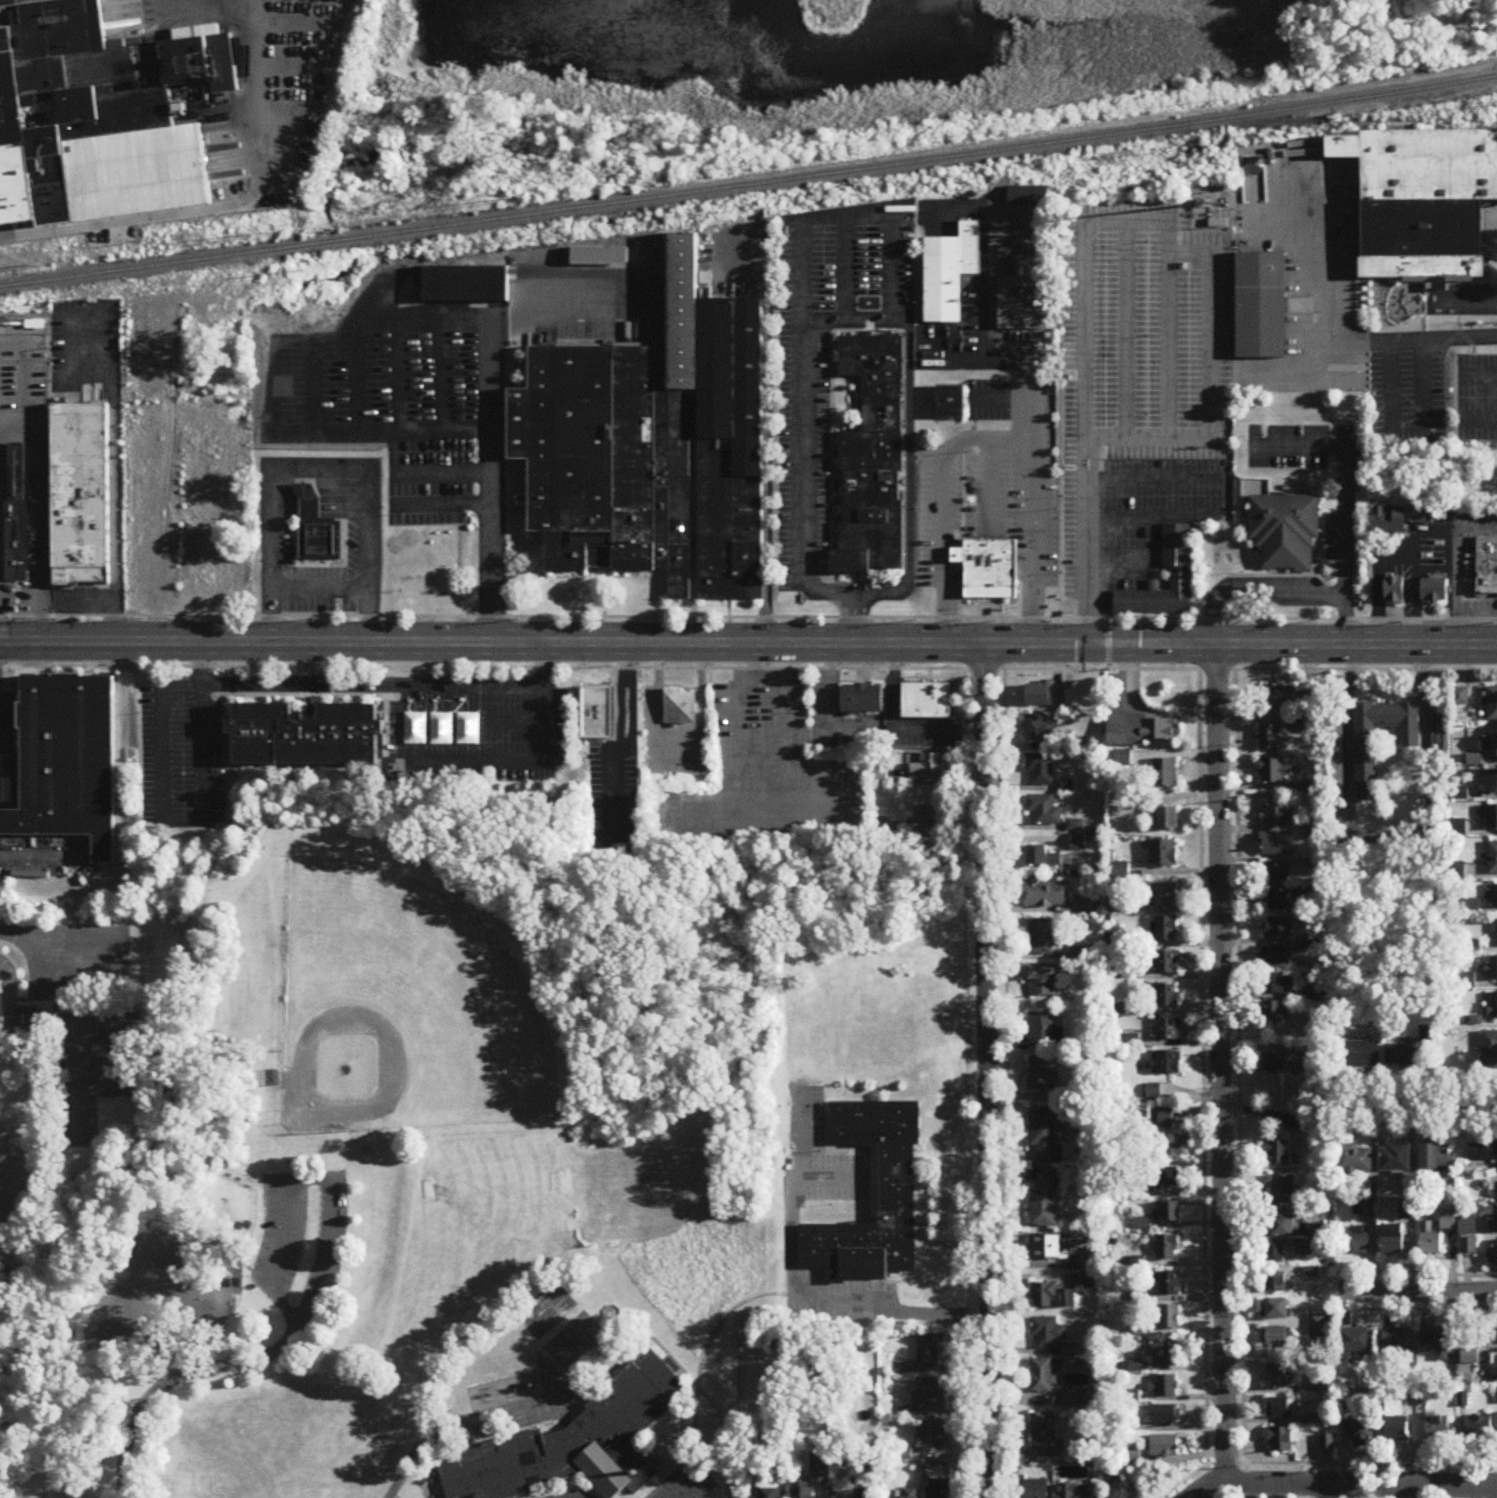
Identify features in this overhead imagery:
building: (96, 113)
railway: (1318, 125)
railway: (749, 185)
building: (1028, 196)
building: (1423, 202)
road: (225, 207)
road: (827, 215)
building: (950, 274)
building: (466, 285)
road: (553, 288)
road: (845, 290)
building: (1026, 297)
road: (1466, 302)
building: (1262, 306)
road: (1170, 308)
road: (988, 309)
road: (823, 317)
road: (1326, 321)
road: (1123, 330)
road: (1482, 376)
building: (951, 404)
road: (1482, 421)
road: (489, 424)
road: (1405, 424)
road: (381, 431)
road: (1128, 434)
road: (768, 435)
road: (990, 440)
building: (653, 447)
building: (872, 459)
road: (1079, 463)
road: (1092, 463)
road: (317, 478)
road: (1154, 478)
building: (81, 497)
road: (1344, 507)
building: (16, 514)
road: (1154, 516)
road: (39, 518)
building: (1400, 519)
building: (317, 531)
building: (1284, 531)
road: (1397, 549)
road: (1086, 561)
road: (1116, 563)
building: (1487, 568)
building: (988, 571)
building: (1180, 576)
building: (406, 583)
road: (1450, 587)
road: (1255, 589)
building: (1395, 590)
road: (1412, 591)
building: (1435, 591)
road: (101, 606)
road: (748, 618)
road: (748, 644)
road: (748, 670)
road: (203, 684)
building: (1278, 697)
building: (863, 699)
building: (927, 701)
building: (1492, 703)
building: (680, 706)
building: (598, 712)
road: (1349, 717)
road: (896, 728)
building: (1040, 729)
building: (1139, 730)
road: (1426, 731)
building: (1438, 734)
building: (304, 735)
building: (1268, 736)
road: (629, 737)
building: (1488, 744)
building: (66, 761)
building: (928, 764)
building: (1040, 770)
building: (1274, 770)
building: (1163, 773)
building: (1367, 774)
road: (783, 779)
building: (1484, 779)
building: (1044, 811)
building: (1276, 816)
building: (1492, 816)
building: (1168, 818)
building: (926, 822)
building: (1276, 844)
building: (1163, 854)
building: (1042, 858)
building: (1492, 858)
building: (1274, 873)
building: (1045, 894)
building: (1164, 896)
building: (1495, 896)
building: (1274, 901)
building: (1277, 928)
building: (1165, 930)
building: (1496, 933)
road: (20, 937)
building: (1042, 938)
building: (1278, 956)
parking lot: (77, 962)
building: (1163, 963)
building: (1492, 968)
road: (110, 974)
building: (1043, 981)
building: (1277, 984)
building: (1165, 997)
road: (41, 1001)
park: (401, 1006)
building: (1493, 1007)
road: (7, 1009)
building: (1275, 1012)
building: (34, 1023)
building: (1168, 1030)
building: (1045, 1031)
building: (1489, 1048)
park: (78, 1050)
building: (1360, 1054)
building: (1401, 1055)
park: (116, 1056)
building: (1274, 1062)
building: (1169, 1063)
road: (1220, 1065)
road: (987, 1070)
building: (1043, 1075)
building: (270, 1078)
road: (965, 1083)
road: (1006, 1084)
road: (1202, 1084)
road: (1237, 1084)
building: (1153, 1092)
park: (458, 1097)
road: (1418, 1105)
park: (78, 1116)
building: (1161, 1119)
building: (1303, 1125)
building: (1044, 1135)
building: (1165, 1145)
building: (334, 1147)
building: (1277, 1151)
building: (1482, 1151)
building: (1438, 1157)
building: (1394, 1158)
building: (1354, 1159)
building: (1167, 1180)
road: (302, 1183)
park: (492, 1183)
building: (1496, 1185)
building: (1281, 1190)
building: (870, 1196)
building: (1045, 1202)
park: (61, 1207)
building: (1169, 1211)
building: (1494, 1217)
building: (1283, 1226)
building: (1467, 1226)
building: (1394, 1239)
building: (1431, 1240)
parking lot: (791, 1244)
building: (1355, 1244)
parking lot: (300, 1246)
building: (1469, 1246)
road: (953, 1247)
building: (1046, 1247)
building: (1167, 1247)
building: (1303, 1248)
building: (1276, 1253)
building: (1492, 1255)
road: (924, 1261)
building: (1084, 1273)
road: (926, 1276)
building: (1279, 1280)
building: (1170, 1284)
road: (1419, 1292)
building: (1049, 1296)
road: (882, 1298)
road: (793, 1304)
building: (1279, 1309)
building: (1168, 1317)
building: (1318, 1327)
building: (1496, 1332)
building: (1047, 1333)
building: (1279, 1337)
building: (1355, 1341)
building: (1398, 1341)
building: (1438, 1344)
building: (930, 1352)
building: (1167, 1354)
road: (682, 1372)
building: (1042, 1376)
road: (179, 1377)
building: (1281, 1377)
building: (1164, 1387)
road: (696, 1391)
building: (928, 1395)
building: (1069, 1399)
building: (1281, 1408)
building: (1165, 1416)
building: (1398, 1423)
building: (1440, 1426)
building: (1479, 1427)
building: (1365, 1432)
building: (1044, 1436)
building: (777, 1439)
building: (931, 1439)
building: (1281, 1440)
building: (572, 1443)
building: (1165, 1446)
road: (1322, 1466)
building: (820, 1470)
road: (691, 1482)
road: (1310, 1482)
parking lot: (682, 1484)
building: (769, 1487)
road: (1344, 1487)
building: (939, 1489)
building: (1037, 1489)
building: (1074, 1491)
road: (1333, 1492)
road: (567, 1493)
building: (803, 1493)
building: (865, 1493)
building: (903, 1495)

